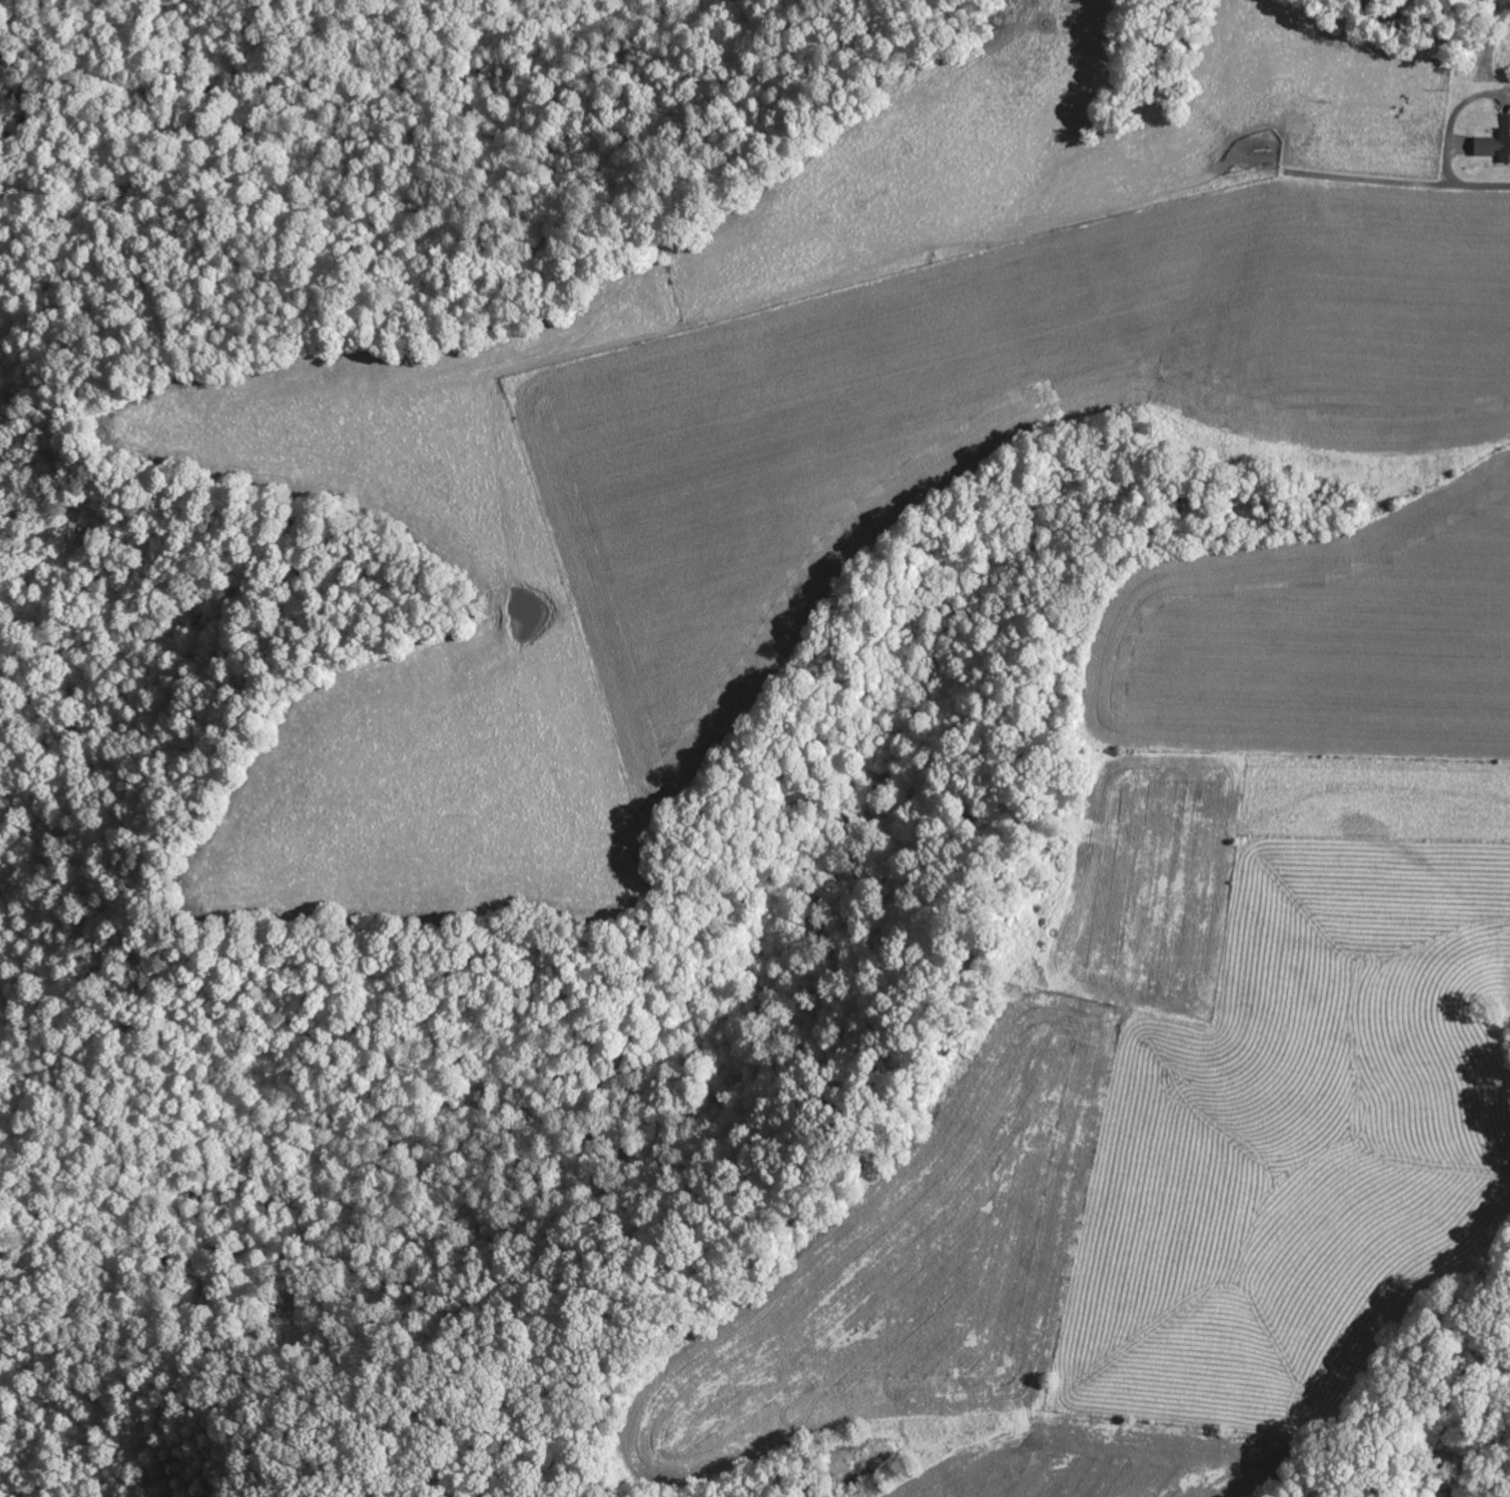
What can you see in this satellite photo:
building: (1494, 143)

